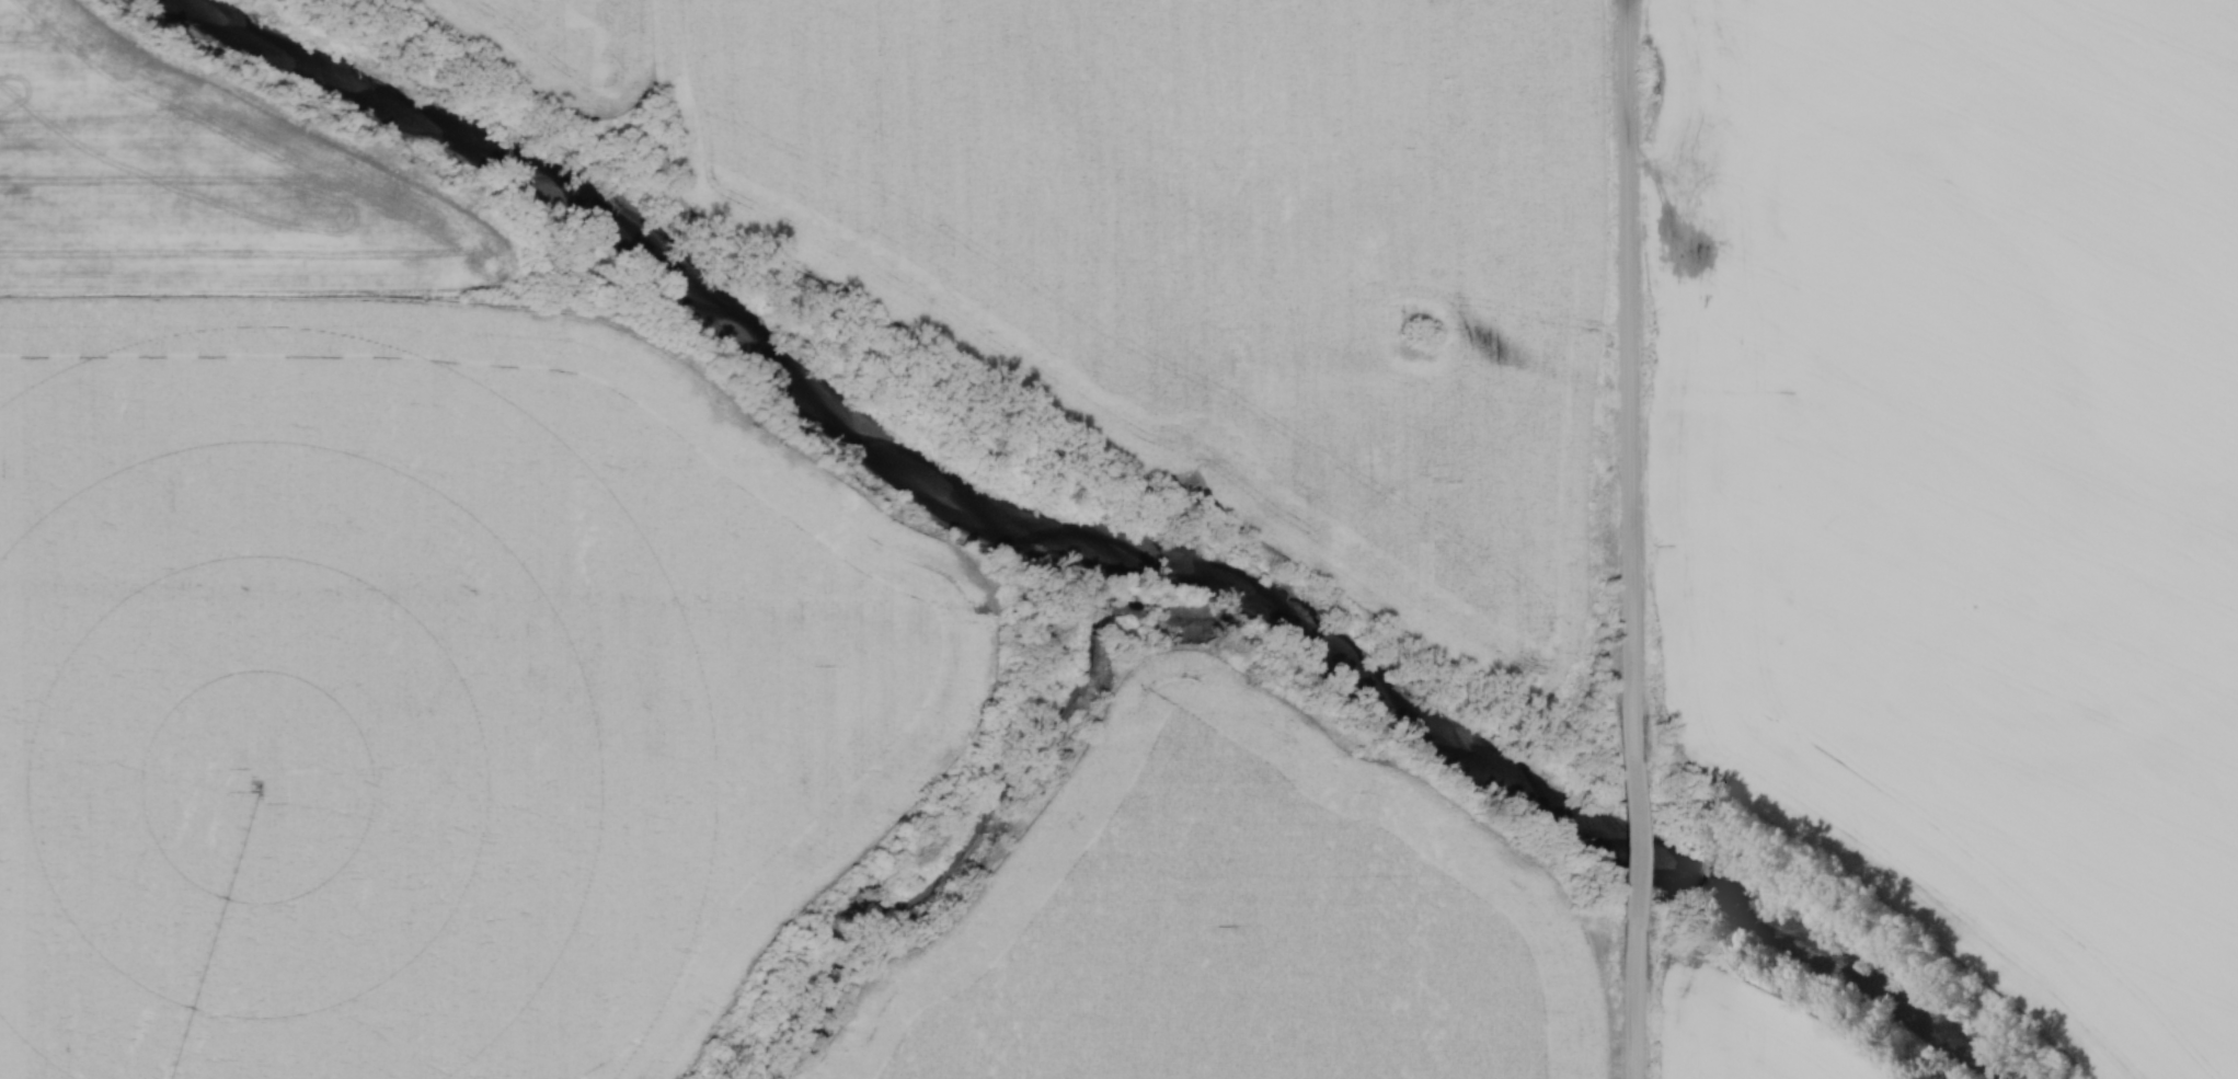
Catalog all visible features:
crop: (1206, 232)
road: (1638, 378)
river: (1083, 540)
crop: (432, 693)
road: (1644, 841)
crop: (1240, 923)
road: (1643, 1002)
crop: (1760, 1035)

